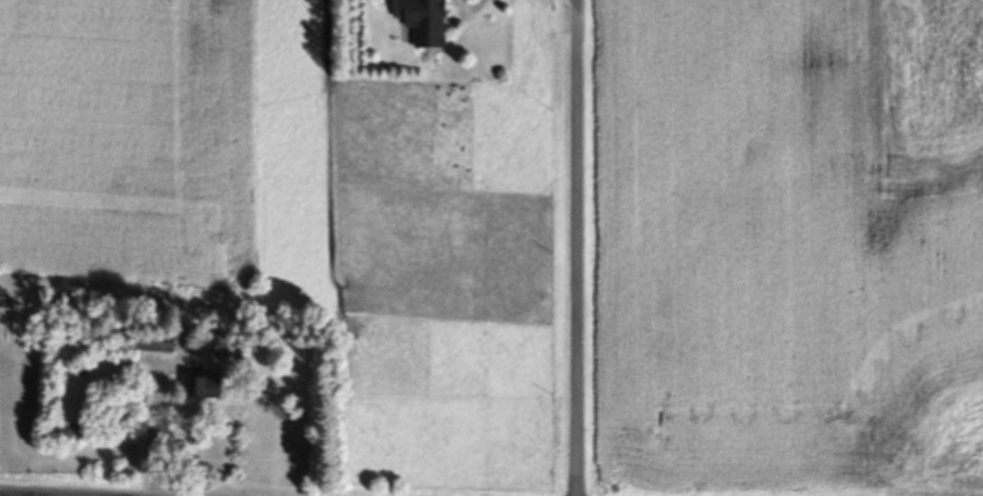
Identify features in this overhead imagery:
building: (418, 22)
road: (578, 247)
building: (198, 389)
building: (59, 437)
road: (157, 437)
road: (30, 494)

